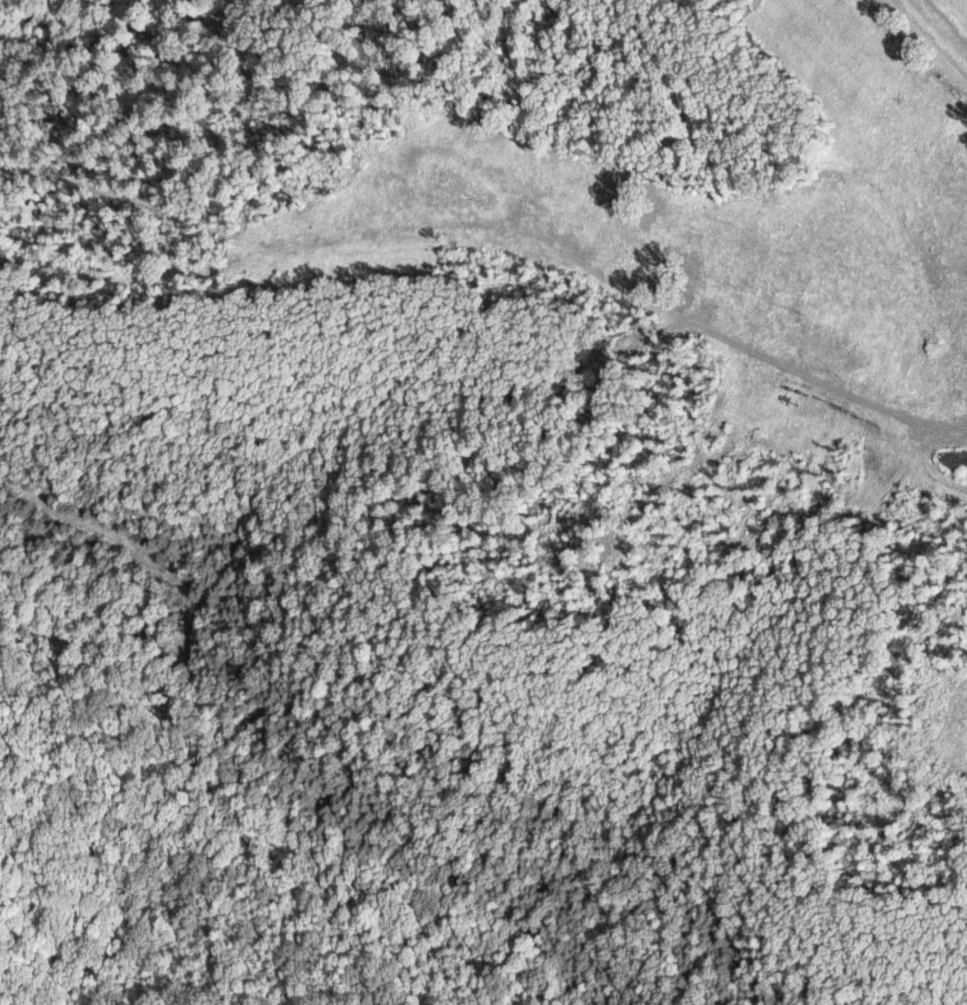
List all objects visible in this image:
road: (925, 44)

